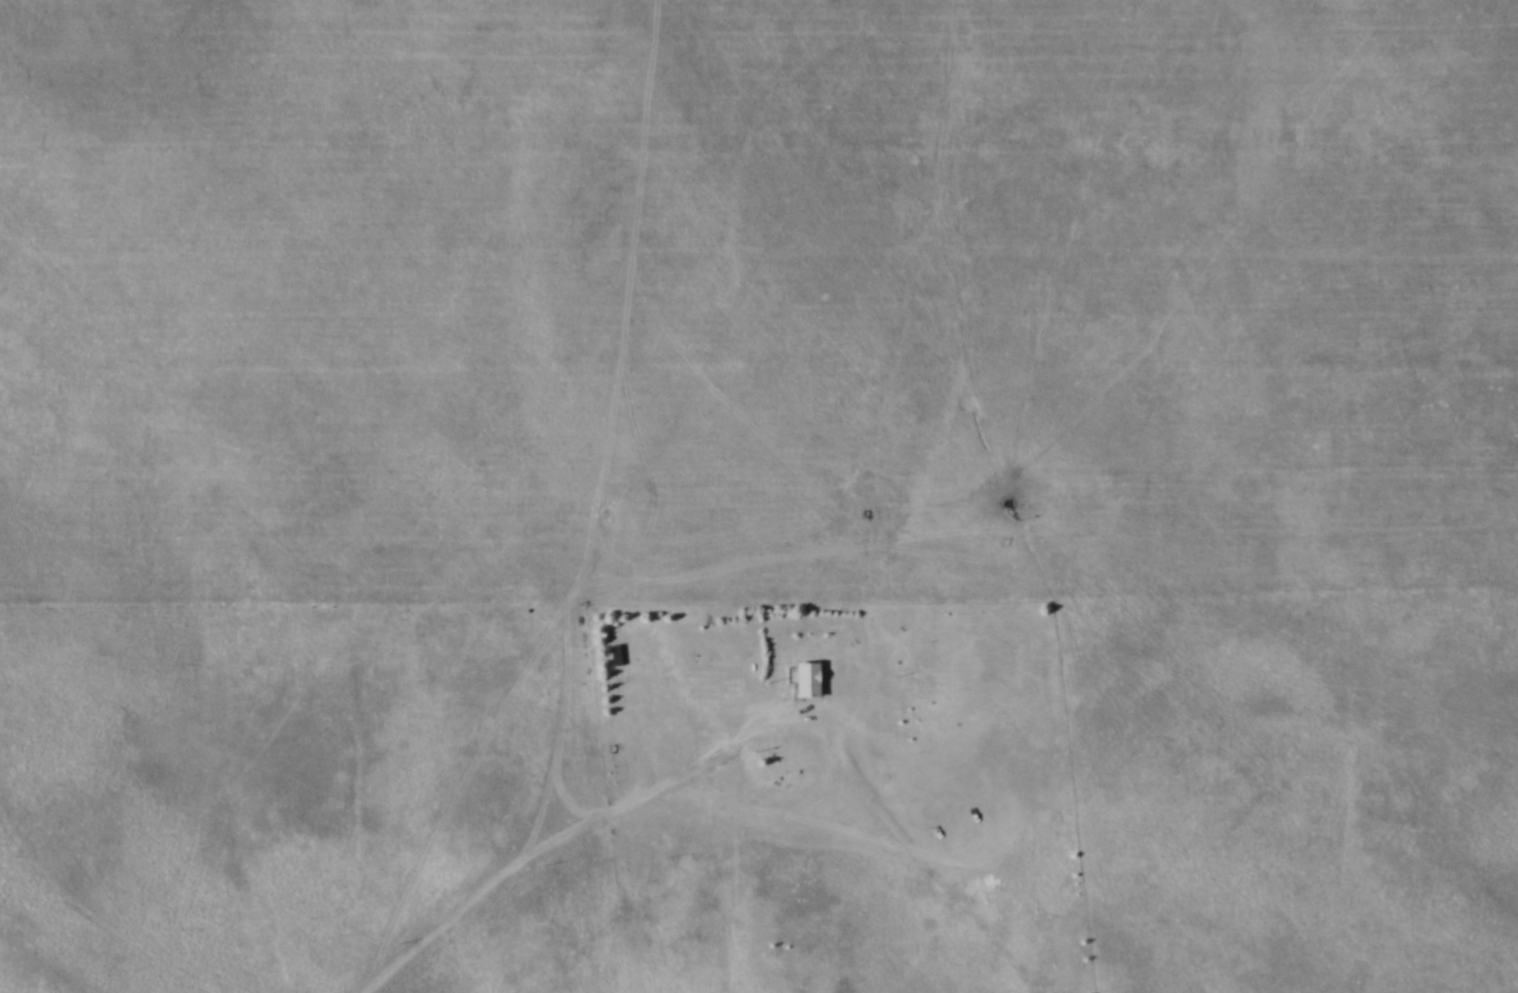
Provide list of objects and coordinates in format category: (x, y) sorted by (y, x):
building: (809, 681)

